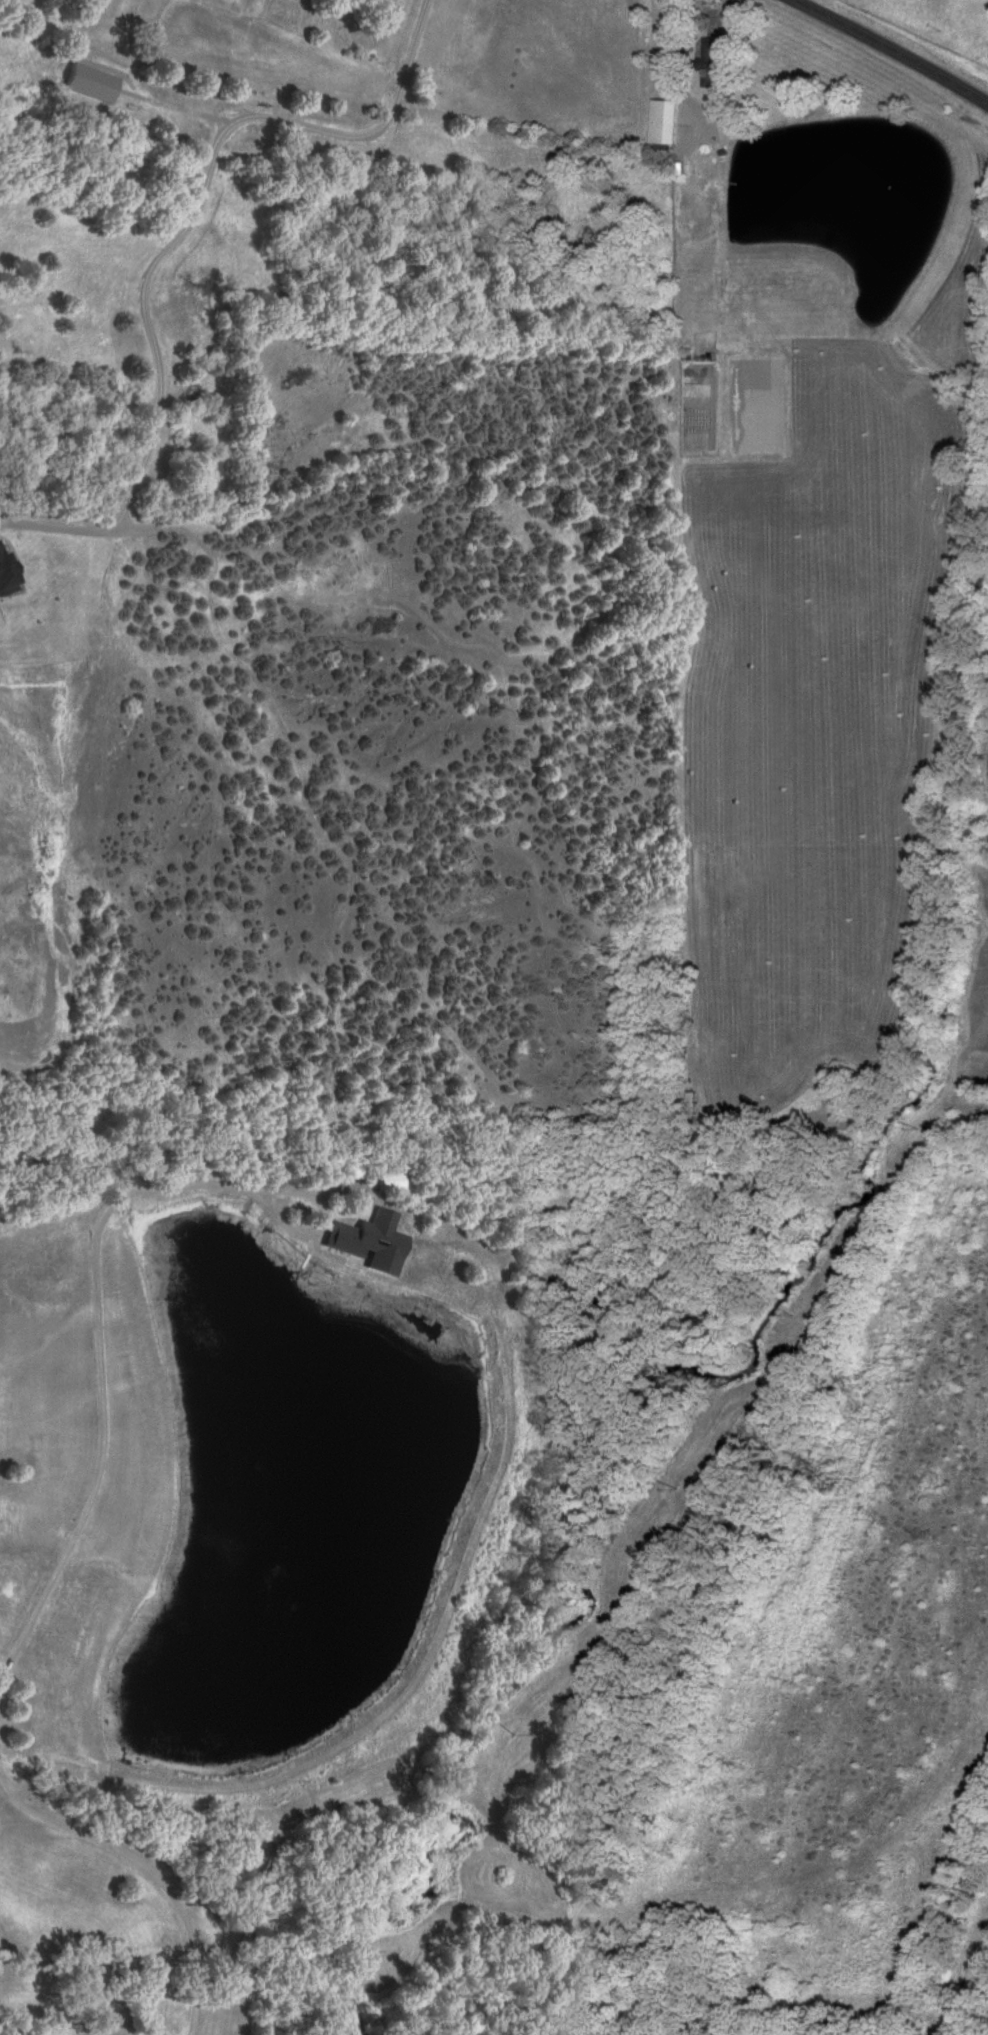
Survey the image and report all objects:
building: (374, 2)
road: (891, 49)
building: (712, 63)
building: (660, 122)
road: (175, 237)
building: (9, 1584)
road: (235, 1949)

